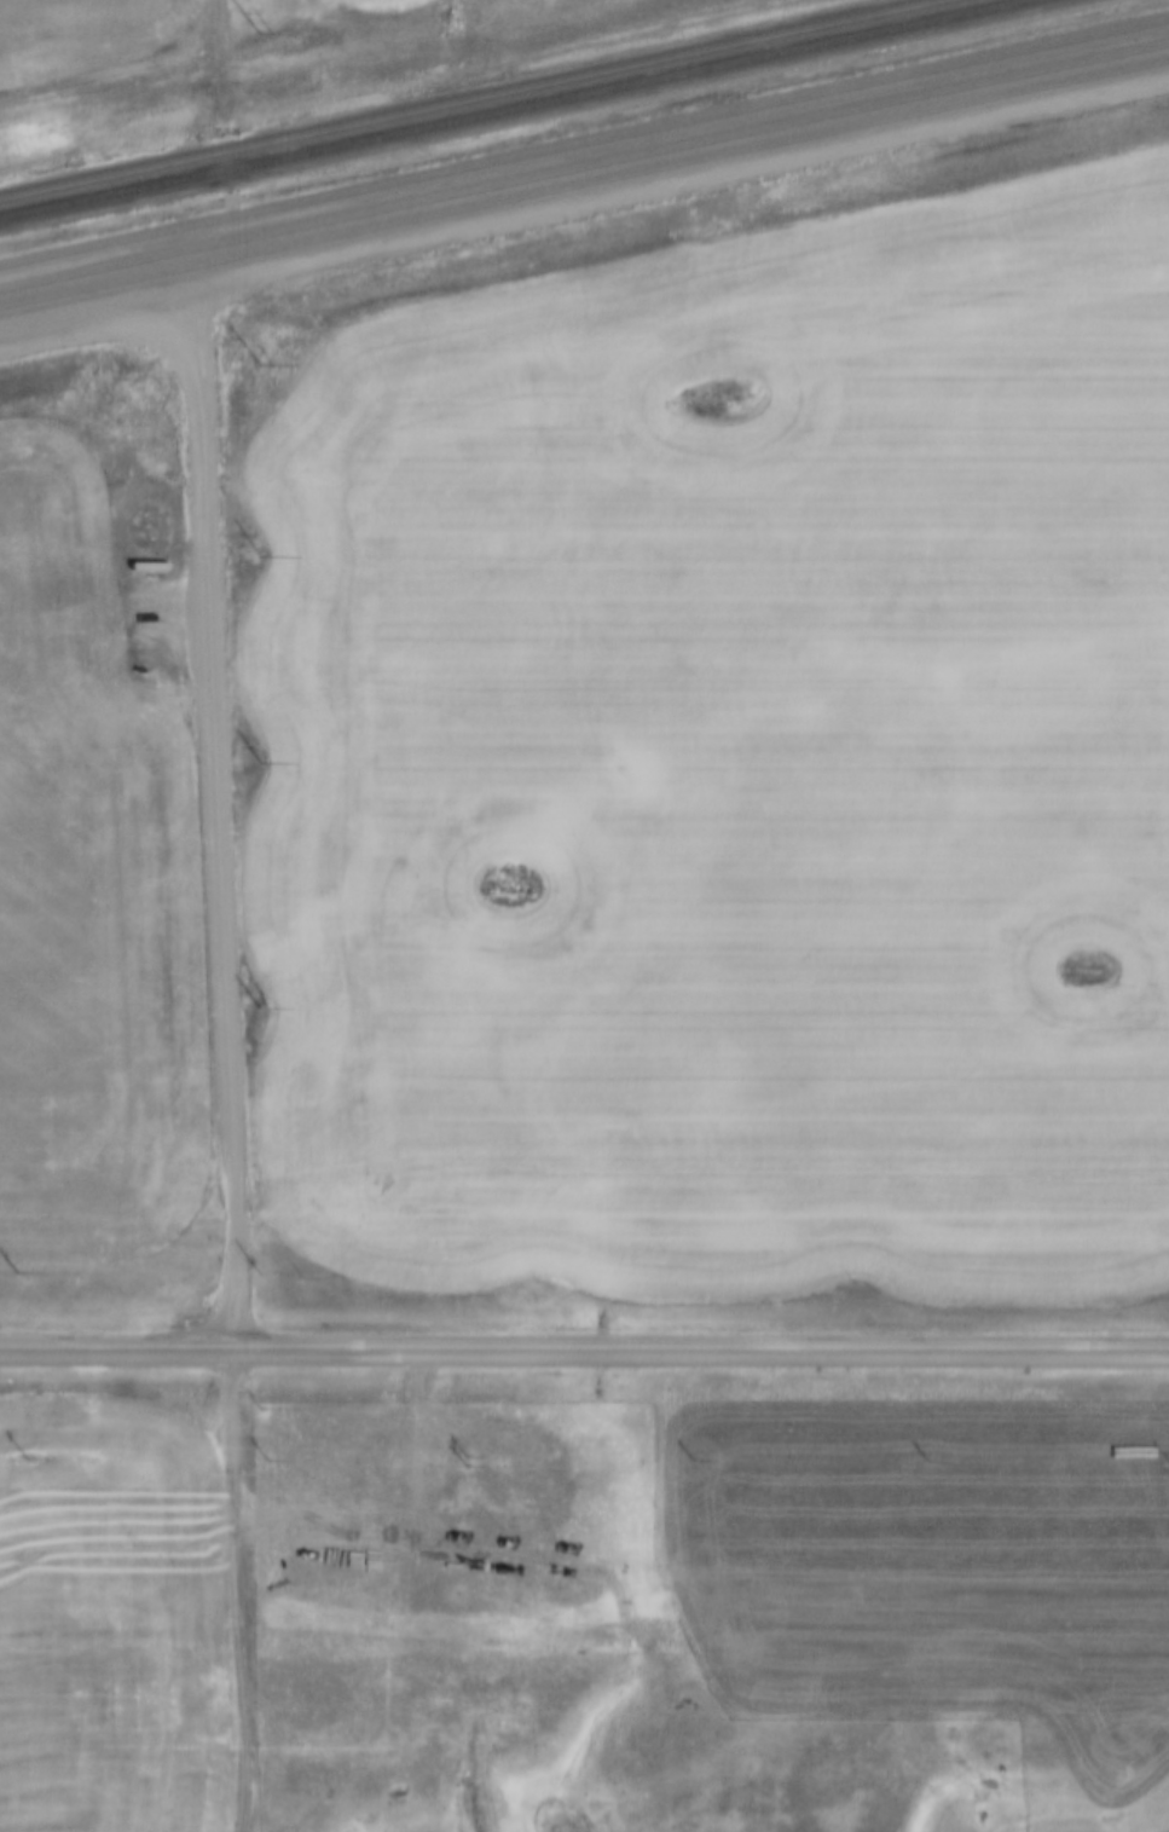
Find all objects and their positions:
power tower: (260, 31)
road: (219, 53)
railway: (457, 96)
railway: (509, 108)
railway: (584, 138)
railway: (584, 162)
railway: (584, 183)
power tower: (262, 363)
road: (233, 825)
road: (584, 1350)
road: (231, 1590)

